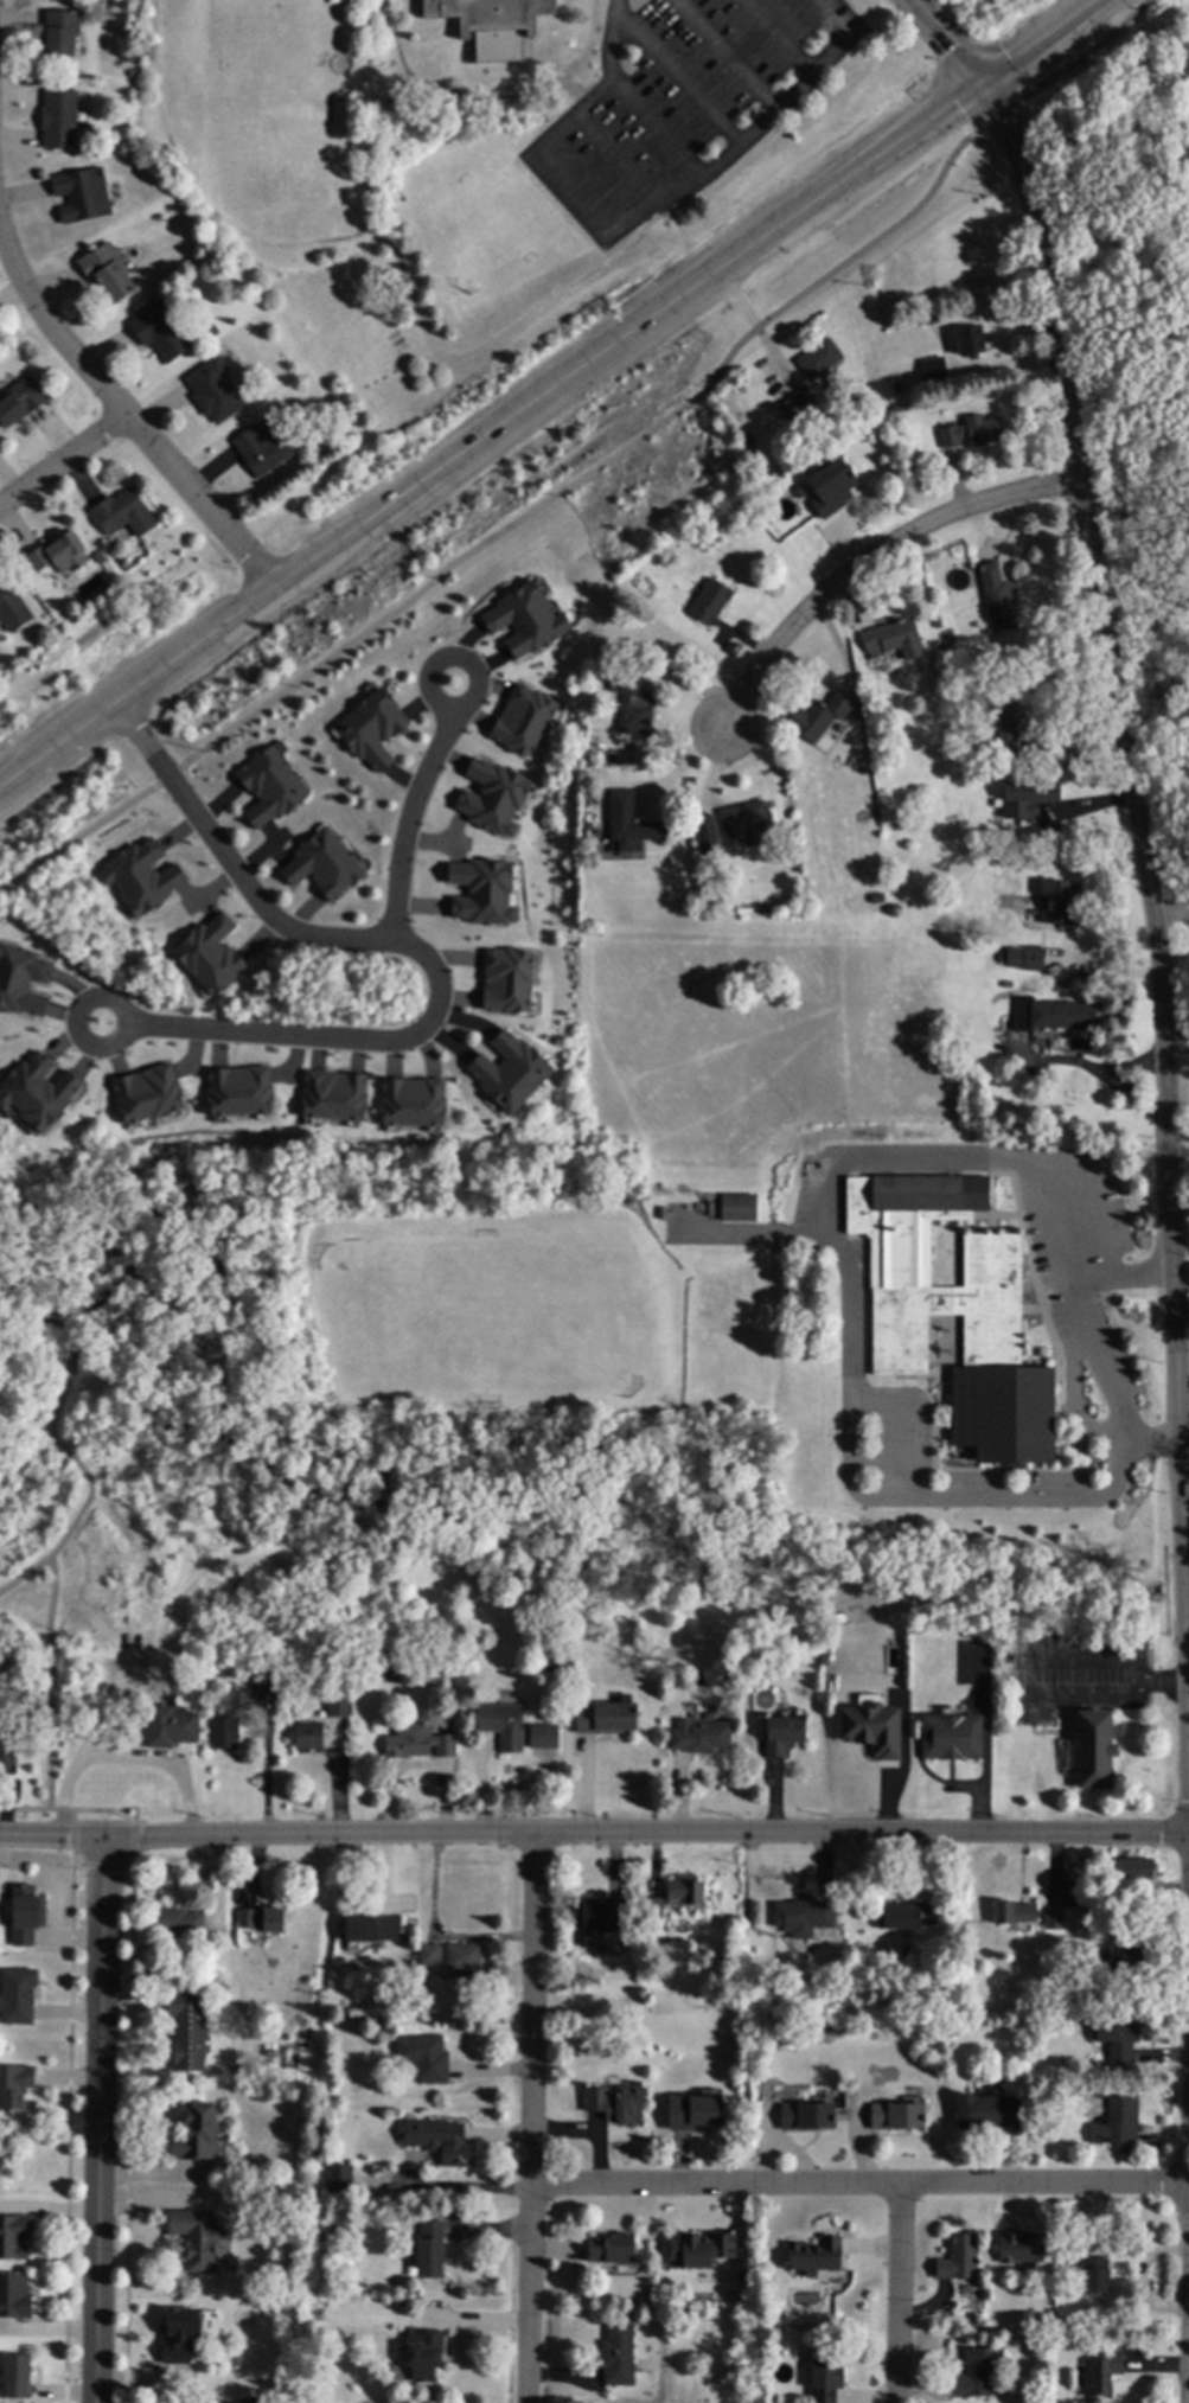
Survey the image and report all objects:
building: (492, 24)
building: (59, 33)
road: (774, 37)
road: (948, 38)
road: (1036, 41)
park: (277, 52)
road: (727, 52)
road: (1083, 55)
road: (676, 71)
building: (132, 72)
road: (488, 95)
road: (997, 114)
building: (58, 119)
road: (656, 120)
road: (621, 159)
building: (81, 196)
road: (647, 212)
building: (106, 274)
building: (927, 318)
park: (1119, 324)
building: (160, 333)
road: (627, 333)
building: (970, 343)
road: (468, 346)
building: (818, 363)
building: (933, 372)
building: (897, 390)
building: (213, 391)
building: (803, 400)
building: (20, 402)
building: (788, 405)
building: (900, 409)
road: (117, 415)
building: (334, 427)
building: (971, 433)
building: (746, 443)
building: (263, 449)
road: (60, 461)
road: (596, 465)
building: (831, 487)
building: (798, 492)
building: (122, 515)
building: (688, 533)
building: (58, 555)
building: (98, 557)
road: (868, 557)
building: (996, 599)
building: (709, 602)
building: (11, 609)
building: (523, 621)
building: (935, 624)
building: (893, 640)
road: (432, 670)
road: (138, 685)
building: (633, 708)
building: (982, 709)
building: (818, 717)
building: (520, 721)
building: (371, 729)
building: (1015, 734)
building: (599, 754)
building: (984, 758)
road: (683, 762)
road: (166, 775)
building: (269, 787)
building: (1025, 797)
building: (491, 798)
building: (743, 820)
road: (409, 822)
building: (628, 825)
road: (76, 836)
building: (704, 836)
building: (792, 851)
building: (322, 865)
building: (140, 877)
building: (481, 891)
road: (1149, 900)
building: (1059, 903)
road: (405, 950)
building: (210, 954)
building: (1021, 958)
building: (21, 980)
building: (505, 980)
building: (1006, 985)
building: (1053, 1015)
road: (76, 1016)
road: (1142, 1063)
road: (1094, 1071)
building: (511, 1074)
building: (238, 1091)
building: (36, 1093)
building: (146, 1093)
building: (332, 1095)
building: (411, 1103)
building: (629, 1199)
building: (736, 1208)
road: (833, 1222)
road: (755, 1231)
road: (26, 1254)
road: (1121, 1277)
road: (24, 1291)
building: (951, 1312)
road: (64, 1451)
building: (181, 1458)
park: (1185, 1498)
building: (229, 1566)
building: (384, 1629)
building: (822, 1660)
building: (552, 1666)
road: (1134, 1668)
building: (223, 1674)
building: (392, 1675)
road: (1168, 1677)
road: (1024, 1680)
road: (50, 1682)
building: (731, 1683)
road: (1136, 1689)
building: (337, 1706)
building: (603, 1718)
building: (225, 1721)
building: (501, 1726)
building: (170, 1728)
building: (871, 1728)
building: (541, 1736)
building: (782, 1736)
building: (308, 1737)
building: (951, 1737)
building: (701, 1738)
building: (417, 1743)
building: (1092, 1749)
building: (6, 1762)
road: (109, 1808)
road: (41, 1809)
road: (594, 1830)
road: (72, 1835)
road: (132, 1836)
road: (101, 1865)
building: (1131, 1868)
building: (684, 1892)
building: (652, 1909)
building: (1012, 1913)
building: (23, 1915)
building: (599, 1915)
building: (803, 1915)
building: (904, 1916)
building: (260, 1919)
building: (1053, 1921)
building: (173, 1922)
building: (371, 1931)
building: (429, 1956)
building: (462, 1960)
building: (1123, 1960)
building: (198, 1977)
building: (1043, 1986)
building: (17, 1995)
building: (306, 1995)
building: (186, 2030)
building: (1117, 2037)
building: (423, 2058)
building: (14, 2084)
building: (612, 2107)
building: (692, 2113)
building: (986, 2113)
road: (536, 2117)
building: (805, 2117)
building: (896, 2117)
road: (97, 2118)
road: (68, 2126)
building: (1116, 2126)
road: (127, 2127)
building: (194, 2134)
building: (439, 2141)
building: (333, 2145)
building: (338, 2178)
road: (863, 2187)
building: (340, 2231)
building: (14, 2236)
building: (196, 2239)
building: (1063, 2245)
building: (609, 2248)
building: (698, 2248)
building: (1019, 2248)
building: (429, 2250)
building: (813, 2257)
building: (958, 2260)
building: (1094, 2276)
building: (277, 2277)
building: (982, 2289)
road: (899, 2295)
building: (13, 2296)
building: (671, 2312)
building: (178, 2334)
building: (1055, 2338)
building: (423, 2354)
building: (616, 2357)
road: (1188, 2364)
building: (1100, 2375)
building: (972, 2376)
building: (15, 2377)
building: (825, 2379)
building: (247, 2401)
building: (771, 2402)

